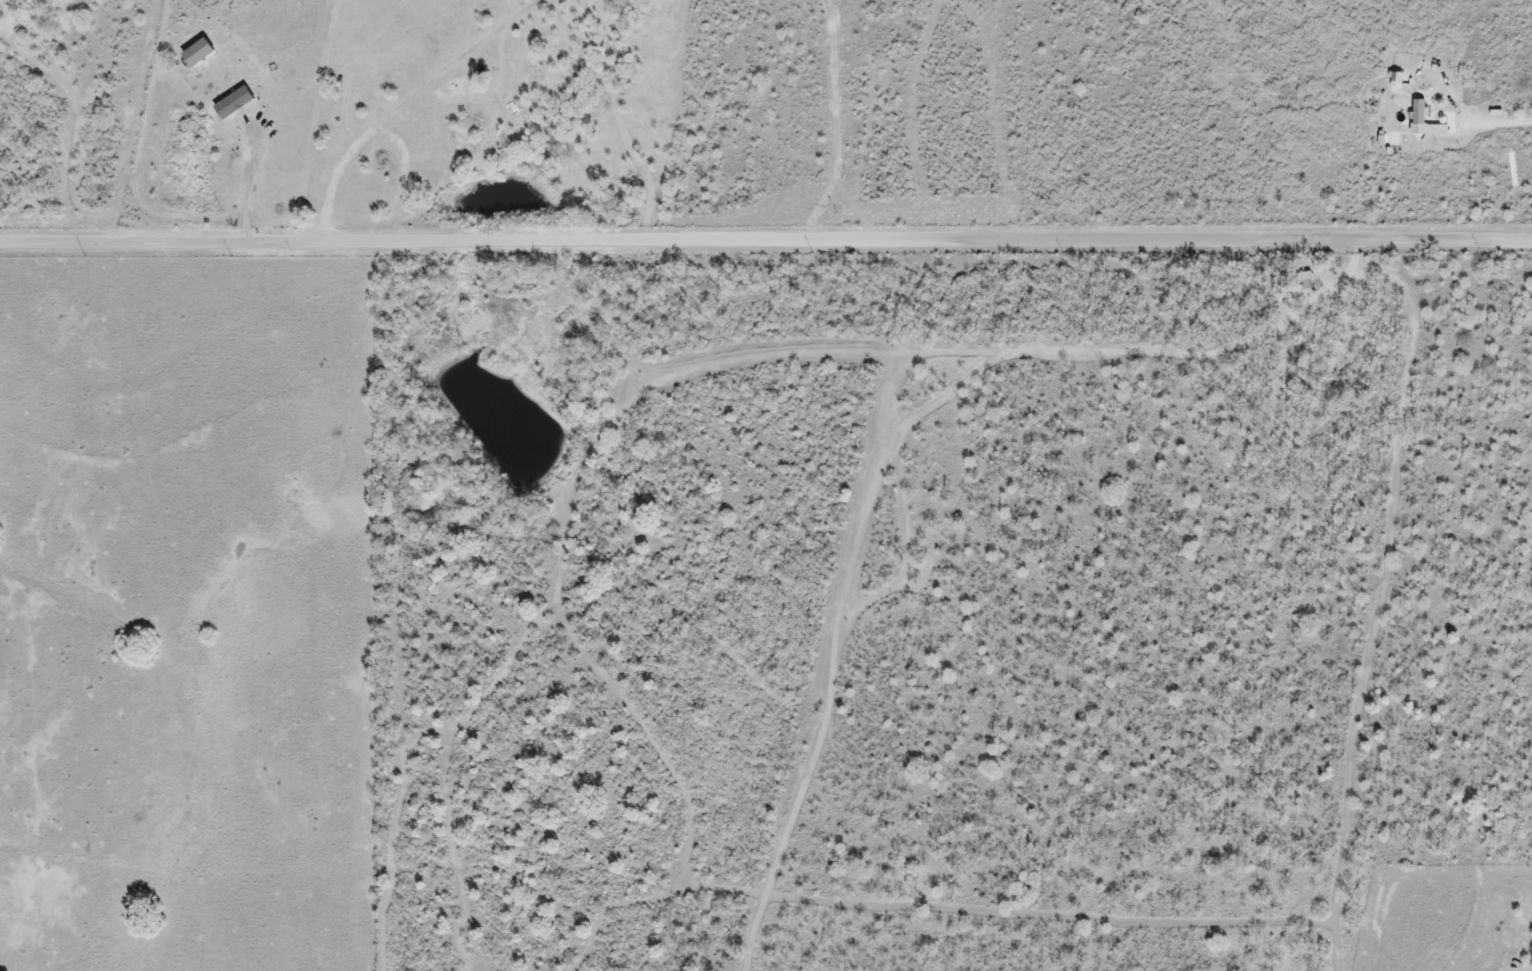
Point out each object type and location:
building: (230, 105)
road: (1509, 125)
road: (242, 183)
road: (766, 239)
road: (1346, 277)

